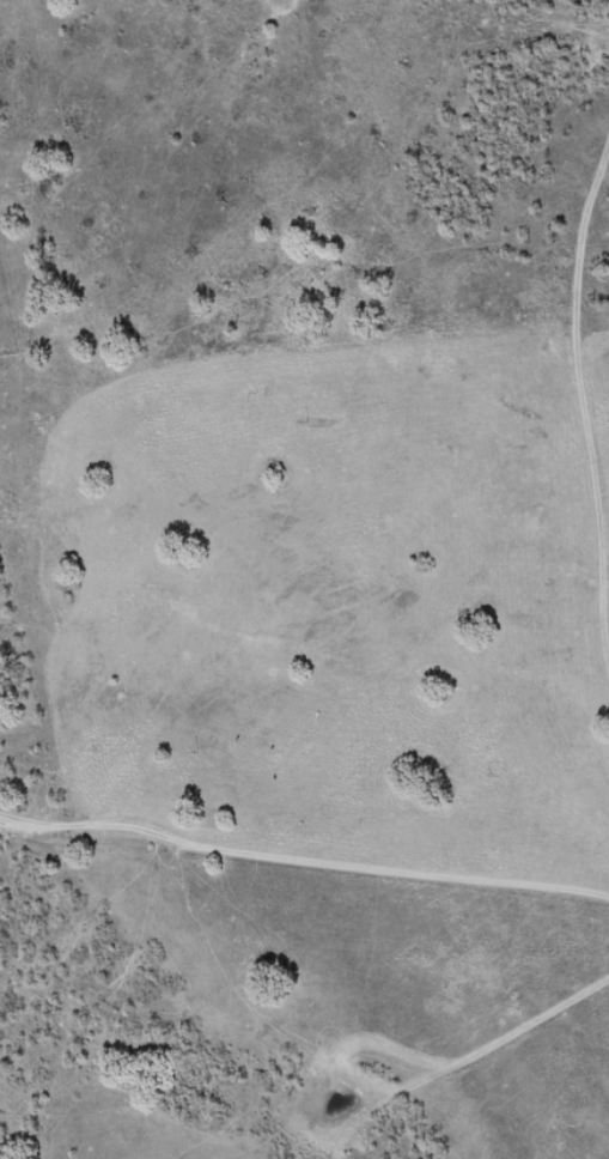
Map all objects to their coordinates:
road: (599, 387)
road: (304, 947)

